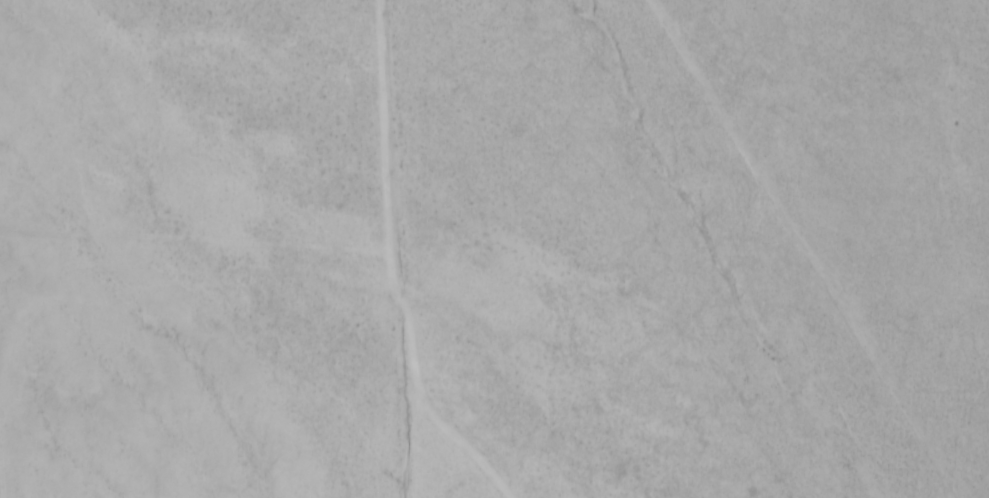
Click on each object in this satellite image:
road: (408, 248)
road: (773, 250)
road: (431, 485)

